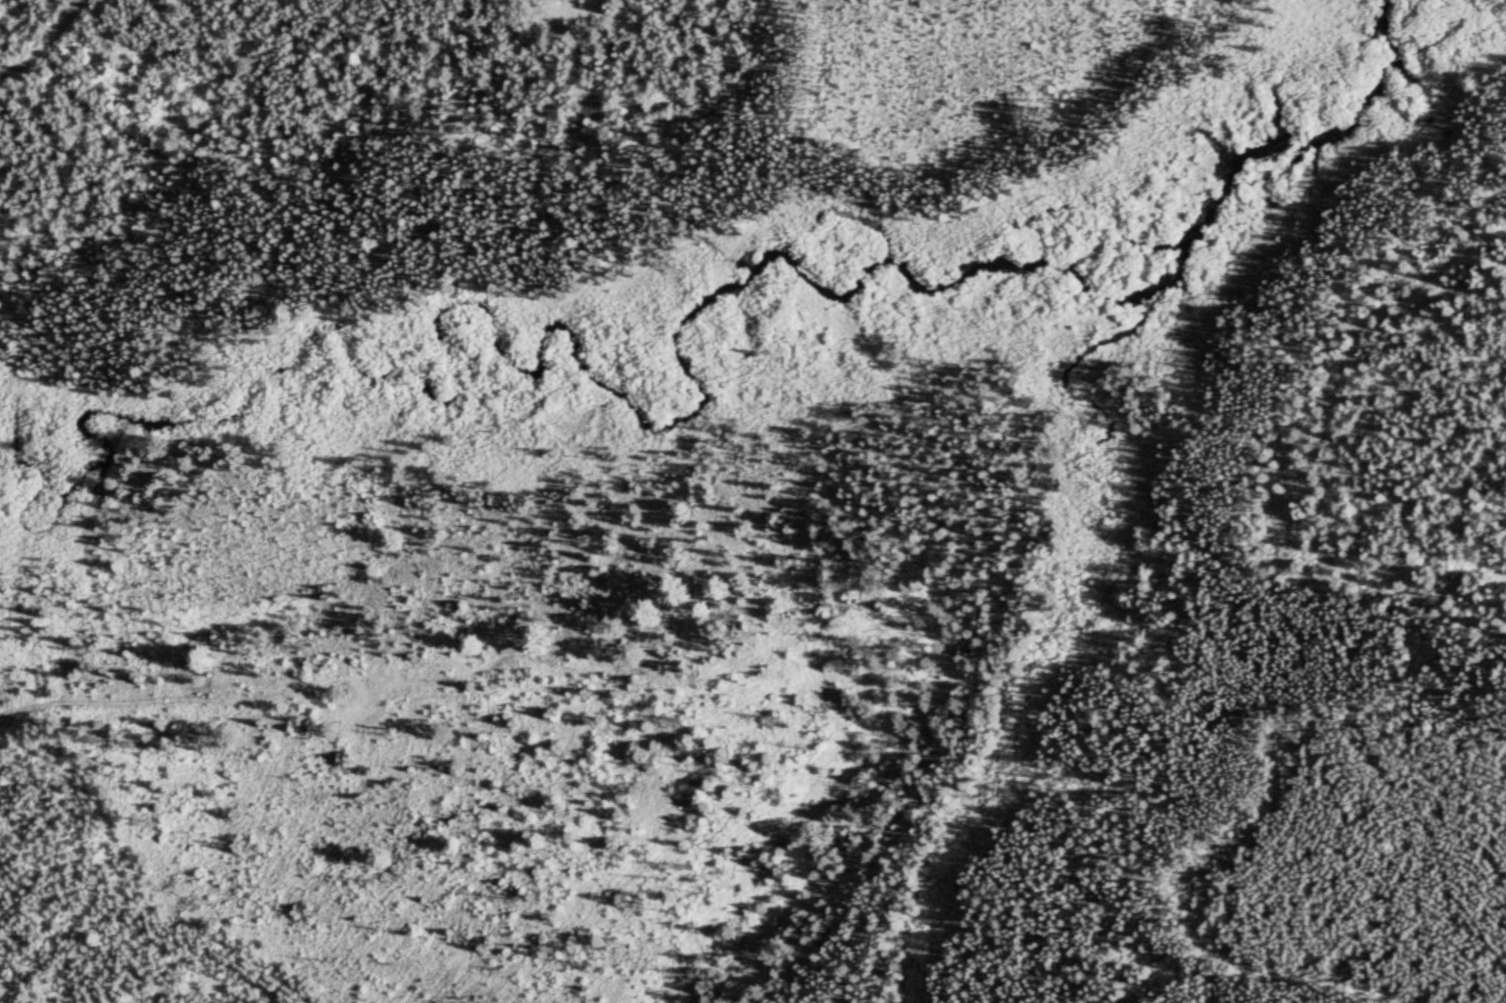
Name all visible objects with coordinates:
river: (1307, 156)
river: (490, 375)

